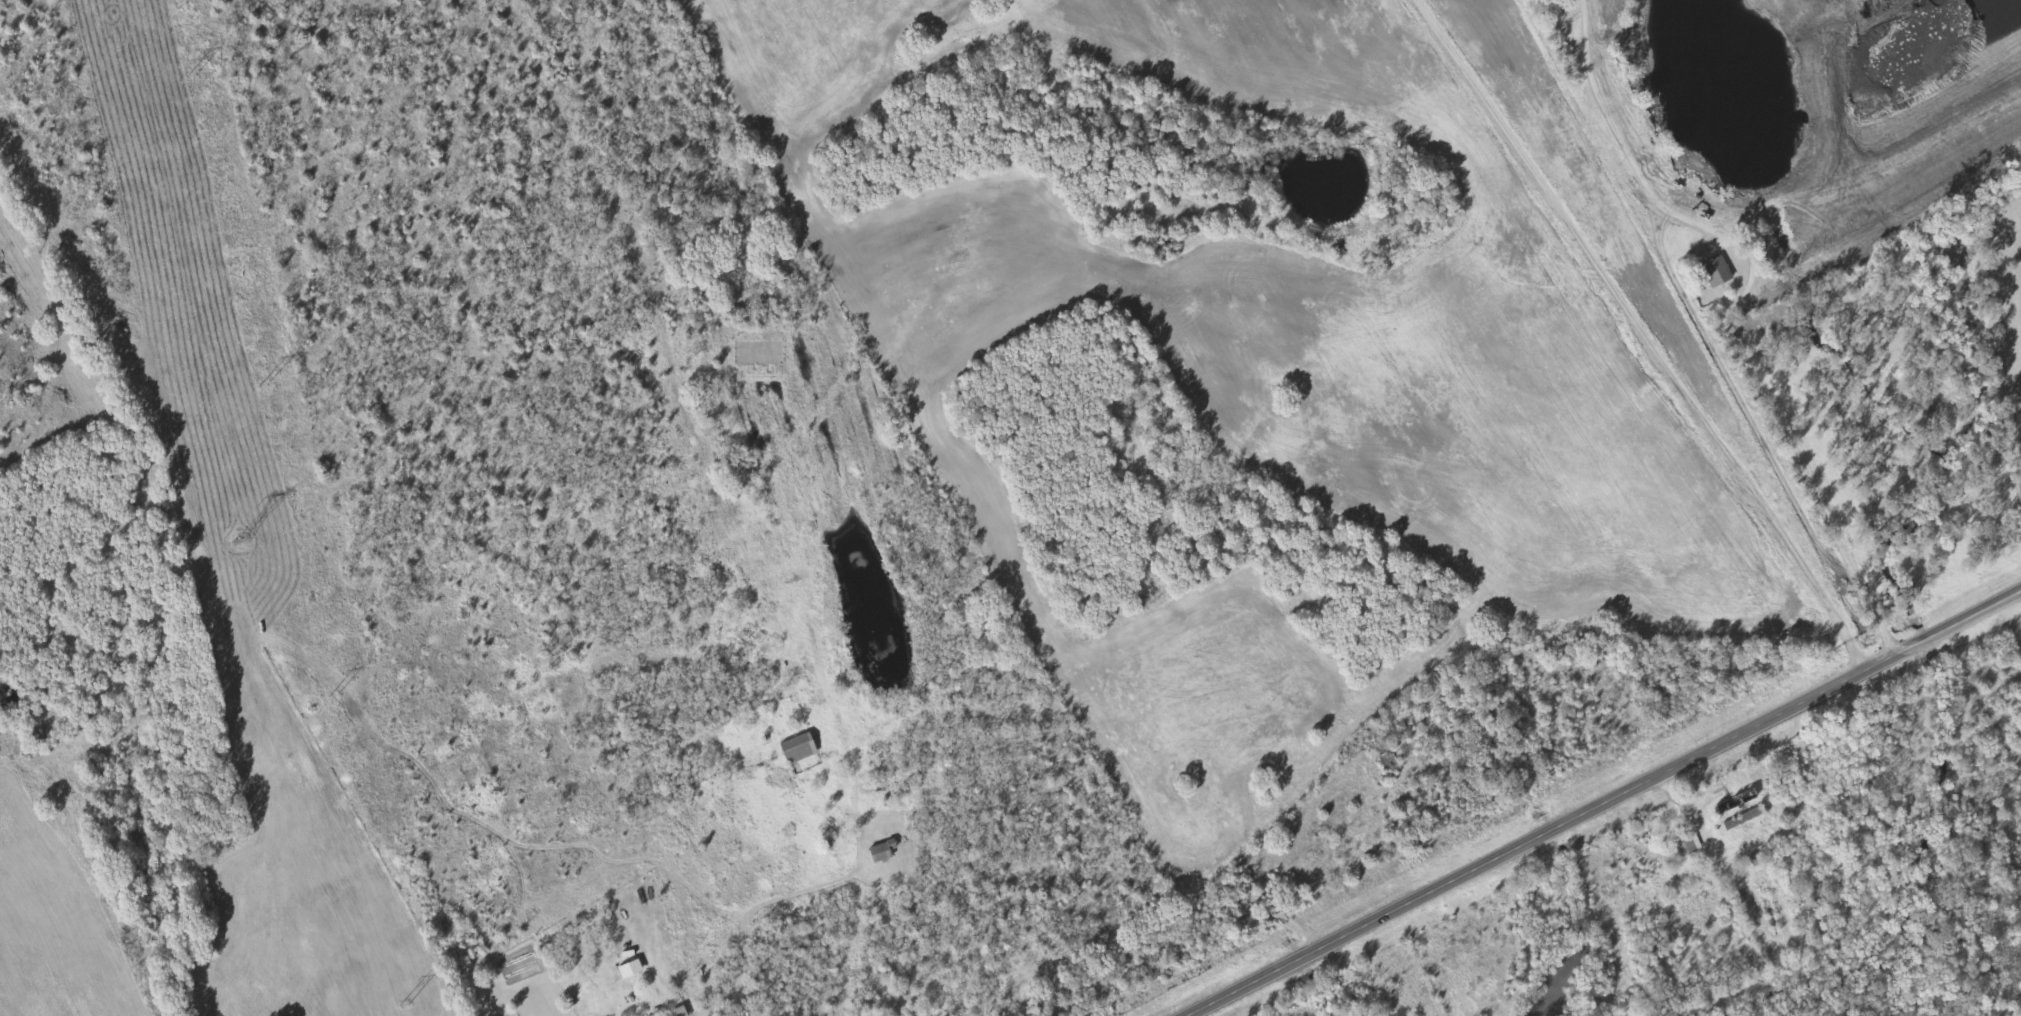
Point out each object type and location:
power tower: (193, 79)
dam: (1908, 174)
building: (1715, 272)
road: (1746, 301)
road: (1641, 336)
power tower: (264, 387)
power tower: (242, 543)
power tower: (335, 698)
building: (796, 749)
road: (1609, 805)
building: (1687, 846)
building: (879, 852)
building: (628, 970)
power tower: (404, 1006)
building: (678, 1012)

